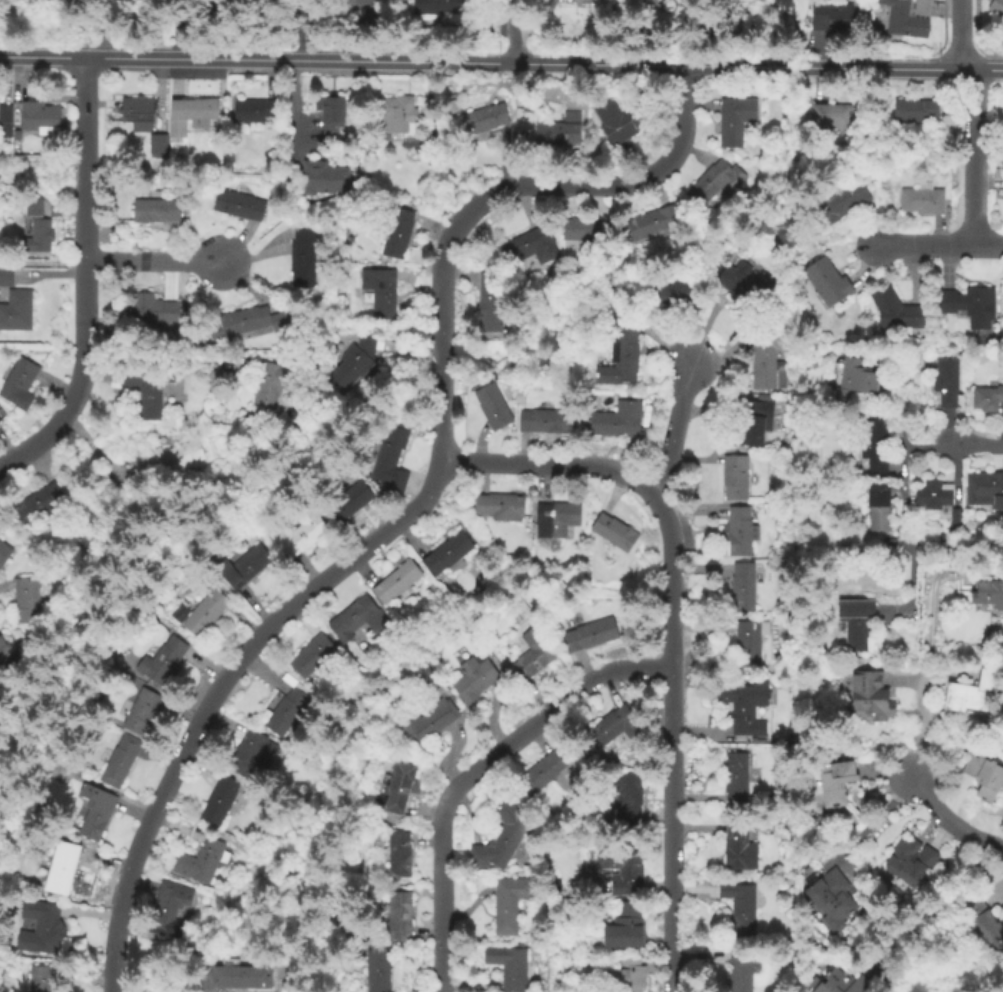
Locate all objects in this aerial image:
building: (243, 0)
building: (61, 3)
building: (781, 5)
building: (443, 8)
building: (365, 9)
building: (995, 9)
building: (907, 16)
building: (834, 17)
road: (178, 26)
road: (100, 28)
road: (295, 29)
road: (512, 31)
road: (960, 34)
road: (499, 55)
road: (256, 58)
road: (598, 63)
road: (843, 66)
road: (295, 101)
building: (454, 101)
building: (330, 108)
building: (254, 109)
building: (138, 110)
building: (191, 110)
building: (915, 112)
building: (39, 115)
building: (397, 116)
building: (736, 116)
building: (831, 116)
building: (485, 117)
building: (621, 119)
building: (6, 122)
building: (559, 131)
building: (159, 140)
building: (177, 142)
road: (974, 155)
road: (42, 161)
building: (944, 171)
building: (323, 173)
building: (715, 180)
road: (587, 185)
building: (921, 201)
building: (842, 202)
building: (33, 204)
building: (239, 206)
building: (157, 209)
building: (655, 219)
building: (589, 226)
building: (399, 231)
building: (41, 233)
building: (531, 245)
road: (939, 245)
building: (304, 255)
road: (43, 260)
road: (154, 261)
building: (6, 275)
road: (86, 281)
building: (747, 283)
building: (826, 283)
building: (382, 288)
building: (672, 291)
building: (491, 300)
building: (967, 306)
building: (151, 307)
building: (17, 309)
building: (894, 311)
building: (250, 321)
building: (938, 351)
road: (161, 353)
building: (622, 353)
building: (764, 355)
building: (357, 361)
road: (441, 365)
building: (19, 379)
building: (853, 379)
building: (276, 382)
building: (945, 382)
building: (149, 386)
building: (986, 399)
building: (494, 405)
road: (902, 415)
building: (754, 417)
building: (617, 418)
building: (544, 419)
road: (676, 429)
building: (872, 443)
road: (977, 443)
building: (389, 452)
building: (177, 456)
road: (547, 465)
building: (736, 476)
building: (984, 490)
building: (932, 495)
building: (350, 498)
building: (46, 500)
building: (500, 505)
building: (877, 508)
building: (557, 517)
building: (954, 518)
road: (904, 520)
building: (300, 529)
building: (741, 529)
building: (615, 530)
building: (4, 551)
building: (449, 551)
building: (245, 565)
building: (398, 581)
building: (743, 585)
road: (911, 588)
building: (987, 595)
building: (26, 599)
building: (206, 611)
building: (358, 617)
building: (854, 623)
building: (592, 632)
building: (750, 641)
building: (8, 653)
building: (313, 653)
building: (533, 653)
building: (161, 659)
road: (924, 666)
building: (424, 673)
road: (927, 674)
building: (475, 677)
road: (218, 689)
building: (970, 694)
building: (869, 697)
building: (746, 705)
building: (290, 707)
building: (142, 709)
road: (551, 712)
building: (428, 719)
building: (616, 724)
road: (672, 738)
building: (253, 751)
building: (121, 759)
building: (542, 771)
road: (886, 774)
building: (737, 776)
building: (983, 777)
building: (834, 784)
building: (400, 786)
building: (220, 798)
building: (628, 799)
building: (97, 810)
road: (949, 822)
road: (871, 824)
building: (500, 837)
building: (740, 846)
building: (400, 853)
building: (207, 859)
building: (911, 861)
building: (61, 863)
building: (623, 868)
road: (443, 894)
building: (830, 900)
building: (510, 901)
road: (932, 907)
building: (169, 908)
building: (745, 910)
building: (399, 913)
building: (40, 924)
building: (984, 924)
building: (625, 927)
building: (509, 964)
building: (377, 969)
building: (739, 970)
building: (628, 973)
building: (242, 976)
building: (43, 977)
building: (834, 984)

